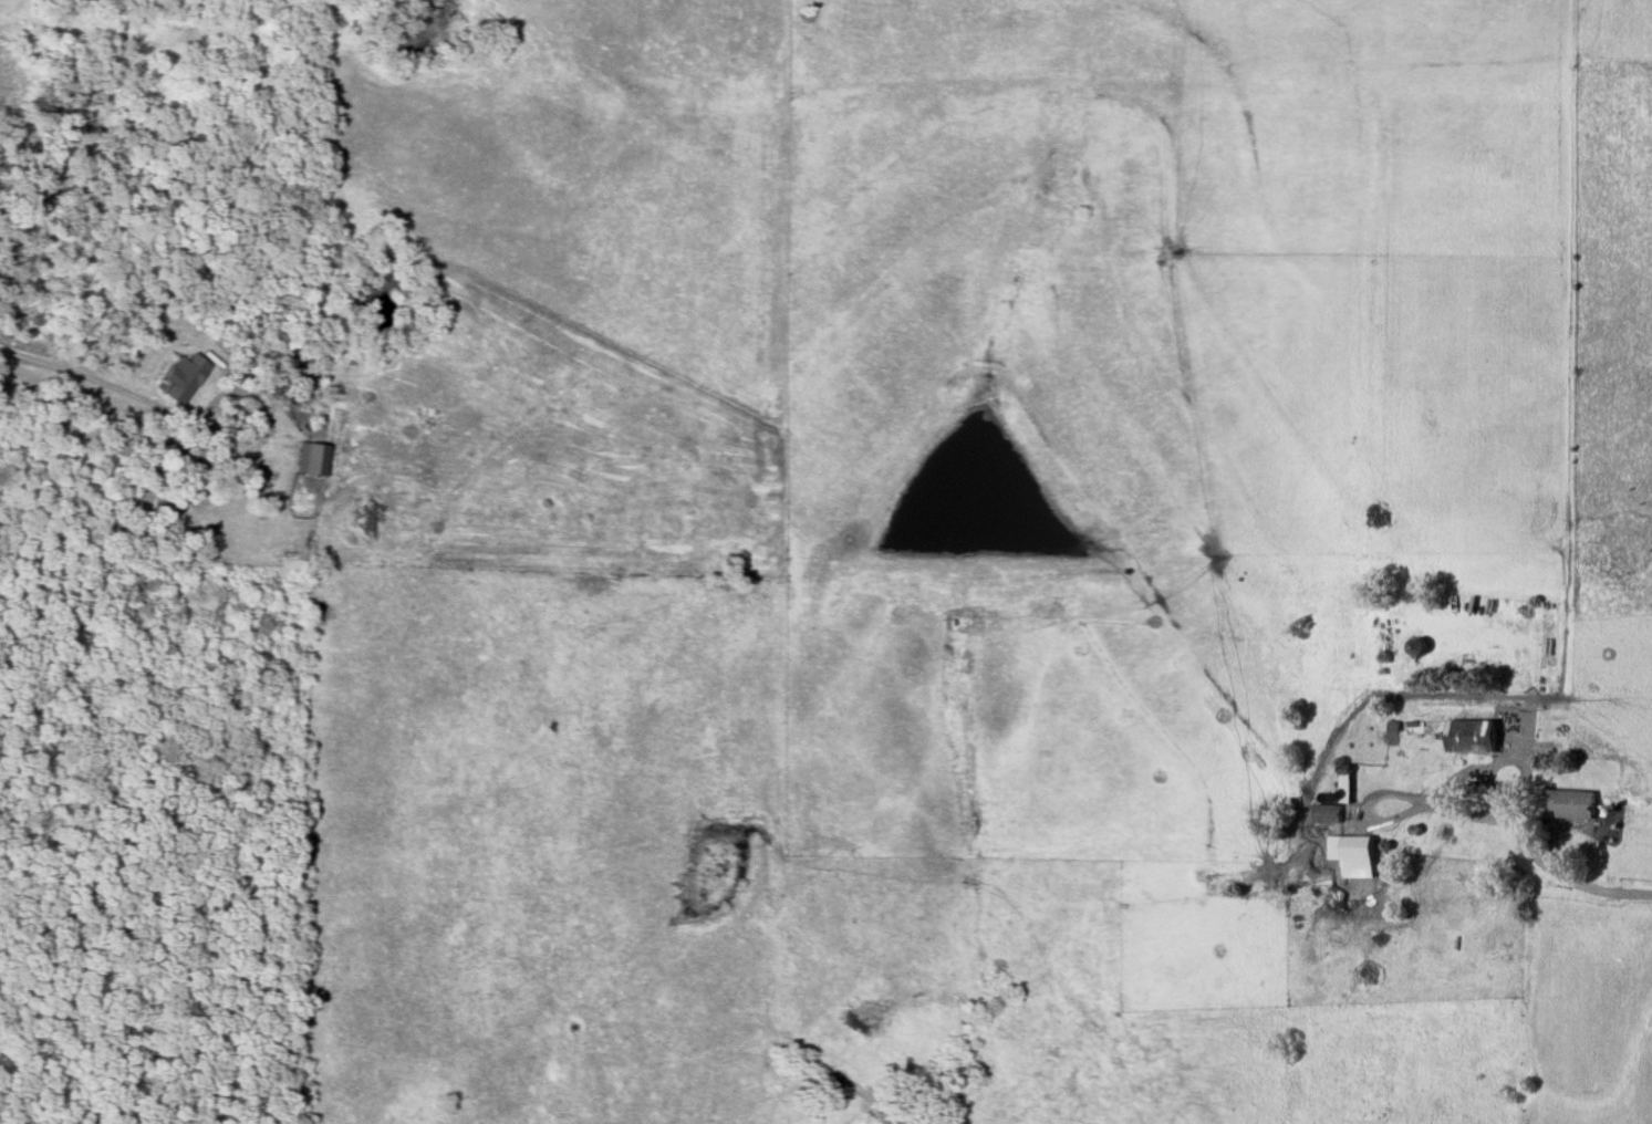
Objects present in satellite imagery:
road: (75, 375)
building: (186, 377)
building: (1469, 739)
building: (1569, 805)
road: (1568, 815)
building: (1353, 860)

